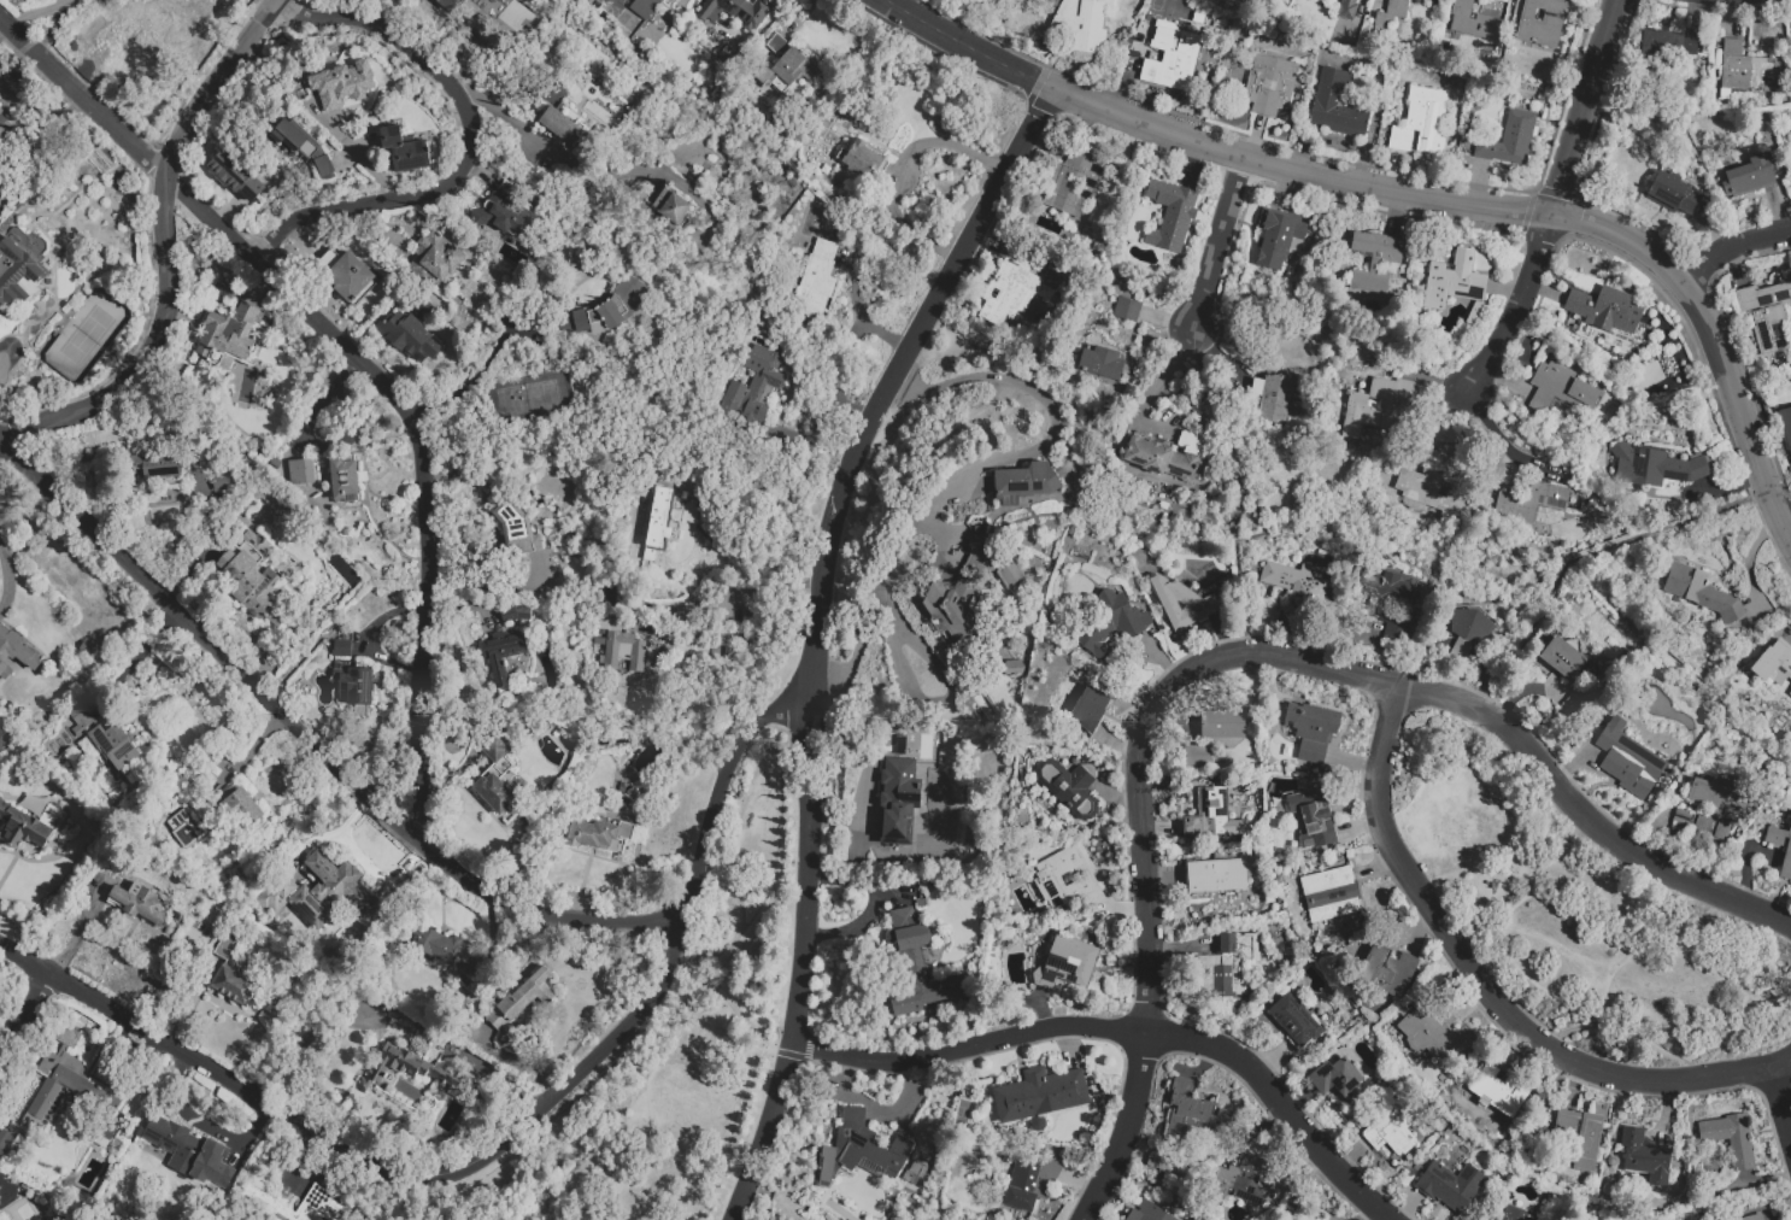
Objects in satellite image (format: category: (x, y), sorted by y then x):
building: (1232, 0)
building: (1255, 1)
building: (1488, 1)
building: (1503, 1)
building: (987, 2)
building: (447, 4)
building: (641, 6)
building: (1347, 11)
building: (735, 12)
road: (799, 12)
building: (1392, 13)
park: (516, 17)
building: (1474, 23)
building: (1542, 23)
building: (1084, 25)
building: (137, 45)
building: (1672, 46)
building: (71, 51)
building: (728, 57)
building: (1173, 58)
building: (1229, 65)
building: (786, 69)
building: (1749, 72)
building: (17, 76)
building: (343, 86)
building: (1270, 87)
building: (298, 98)
building: (1338, 107)
road: (1585, 108)
road: (510, 119)
building: (1422, 124)
building: (1470, 124)
building: (563, 125)
building: (5, 129)
building: (1509, 141)
road: (950, 143)
road: (469, 145)
road: (1206, 146)
building: (305, 149)
building: (405, 152)
building: (862, 160)
road: (363, 164)
building: (237, 177)
building: (1749, 180)
building: (13, 183)
building: (1169, 183)
building: (1074, 187)
building: (1673, 195)
building: (17, 207)
building: (671, 209)
building: (506, 215)
building: (1, 217)
building: (11, 223)
building: (1176, 225)
building: (1273, 242)
road: (1217, 245)
building: (341, 247)
road: (1731, 247)
road: (165, 248)
building: (1376, 248)
building: (436, 262)
building: (17, 276)
building: (347, 277)
building: (1455, 282)
building: (1369, 283)
building: (814, 285)
building: (1017, 289)
road: (1516, 305)
building: (424, 310)
road: (857, 310)
building: (610, 311)
building: (1128, 311)
building: (1604, 311)
building: (1474, 316)
building: (1769, 323)
building: (410, 339)
building: (229, 340)
road: (1713, 340)
road: (358, 359)
building: (1102, 364)
road: (477, 374)
road: (889, 374)
building: (757, 389)
building: (1561, 391)
building: (1274, 398)
building: (1379, 407)
building: (1664, 413)
road: (814, 422)
building: (1786, 427)
road: (1051, 436)
road: (307, 439)
building: (1167, 457)
building: (276, 465)
building: (1655, 468)
building: (158, 471)
building: (301, 473)
building: (345, 480)
building: (225, 482)
building: (1024, 485)
building: (1428, 495)
road: (1250, 498)
building: (1535, 505)
building: (648, 517)
building: (1216, 517)
building: (657, 518)
road: (1786, 523)
building: (517, 530)
building: (29, 532)
building: (1071, 532)
building: (43, 535)
road: (1634, 538)
building: (658, 569)
building: (973, 574)
building: (1006, 574)
building: (71, 579)
building: (252, 579)
building: (1297, 588)
building: (1386, 591)
building: (615, 594)
building: (1701, 594)
building: (112, 603)
building: (1184, 604)
road: (874, 605)
building: (952, 614)
building: (515, 615)
building: (1267, 615)
building: (635, 616)
building: (81, 624)
building: (1110, 627)
building: (1394, 628)
building: (1468, 630)
building: (101, 634)
road: (738, 634)
building: (599, 644)
building: (621, 646)
building: (342, 649)
building: (88, 650)
building: (72, 652)
building: (16, 653)
building: (503, 655)
building: (1562, 659)
building: (1778, 664)
building: (1012, 669)
road: (1333, 671)
building: (354, 688)
building: (1789, 696)
road: (952, 699)
building: (1090, 710)
building: (1574, 710)
building: (81, 720)
building: (40, 726)
building: (1219, 726)
building: (535, 729)
building: (1319, 732)
road: (313, 739)
building: (612, 744)
building: (900, 746)
building: (116, 747)
road: (799, 750)
road: (827, 751)
building: (1198, 757)
building: (1628, 761)
road: (779, 769)
building: (497, 781)
road: (394, 787)
building: (1070, 788)
building: (630, 792)
building: (898, 803)
building: (240, 809)
building: (1715, 811)
building: (175, 813)
building: (1211, 817)
building: (1315, 817)
building: (183, 822)
building: (1681, 822)
building: (29, 827)
building: (599, 835)
building: (1674, 838)
building: (1335, 861)
building: (1786, 864)
building: (1217, 878)
building: (1068, 881)
building: (322, 896)
building: (1331, 896)
building: (141, 904)
park: (1579, 914)
building: (233, 926)
building: (442, 948)
road: (1748, 949)
building: (921, 964)
building: (1067, 966)
building: (243, 967)
building: (1226, 969)
road: (1520, 969)
building: (1387, 972)
building: (234, 976)
building: (1293, 979)
road: (1478, 979)
road: (727, 998)
building: (523, 1001)
road: (28, 1017)
road: (795, 1021)
building: (1296, 1025)
building: (459, 1034)
building: (1433, 1037)
road: (301, 1039)
building: (440, 1044)
road: (970, 1048)
park: (668, 1049)
road: (1779, 1061)
building: (413, 1073)
building: (1337, 1080)
building: (59, 1084)
building: (1496, 1091)
building: (1037, 1096)
road: (1779, 1097)
road: (1282, 1103)
building: (1193, 1118)
road: (1124, 1128)
building: (1392, 1130)
building: (1576, 1131)
road: (1519, 1138)
building: (1731, 1140)
building: (6, 1143)
road: (500, 1144)
building: (859, 1150)
building: (186, 1152)
building: (1645, 1159)
building: (1158, 1161)
building: (1503, 1166)
building: (1490, 1175)
building: (917, 1177)
building: (1249, 1183)
building: (1609, 1183)
building: (1024, 1186)
building: (1451, 1187)
building: (233, 1190)
building: (6, 1193)
building: (257, 1202)
building: (1149, 1213)
building: (1308, 1214)
building: (1515, 1214)
building: (1756, 1218)

